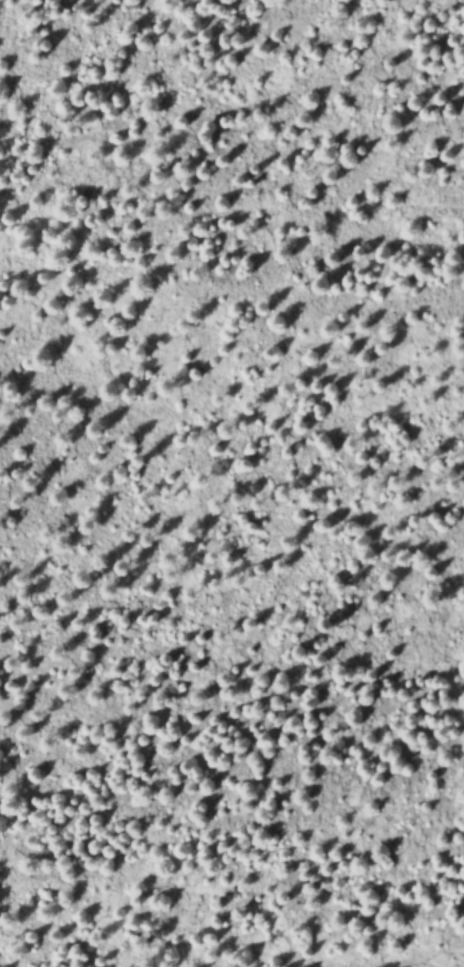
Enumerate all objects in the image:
road: (2, 11)

